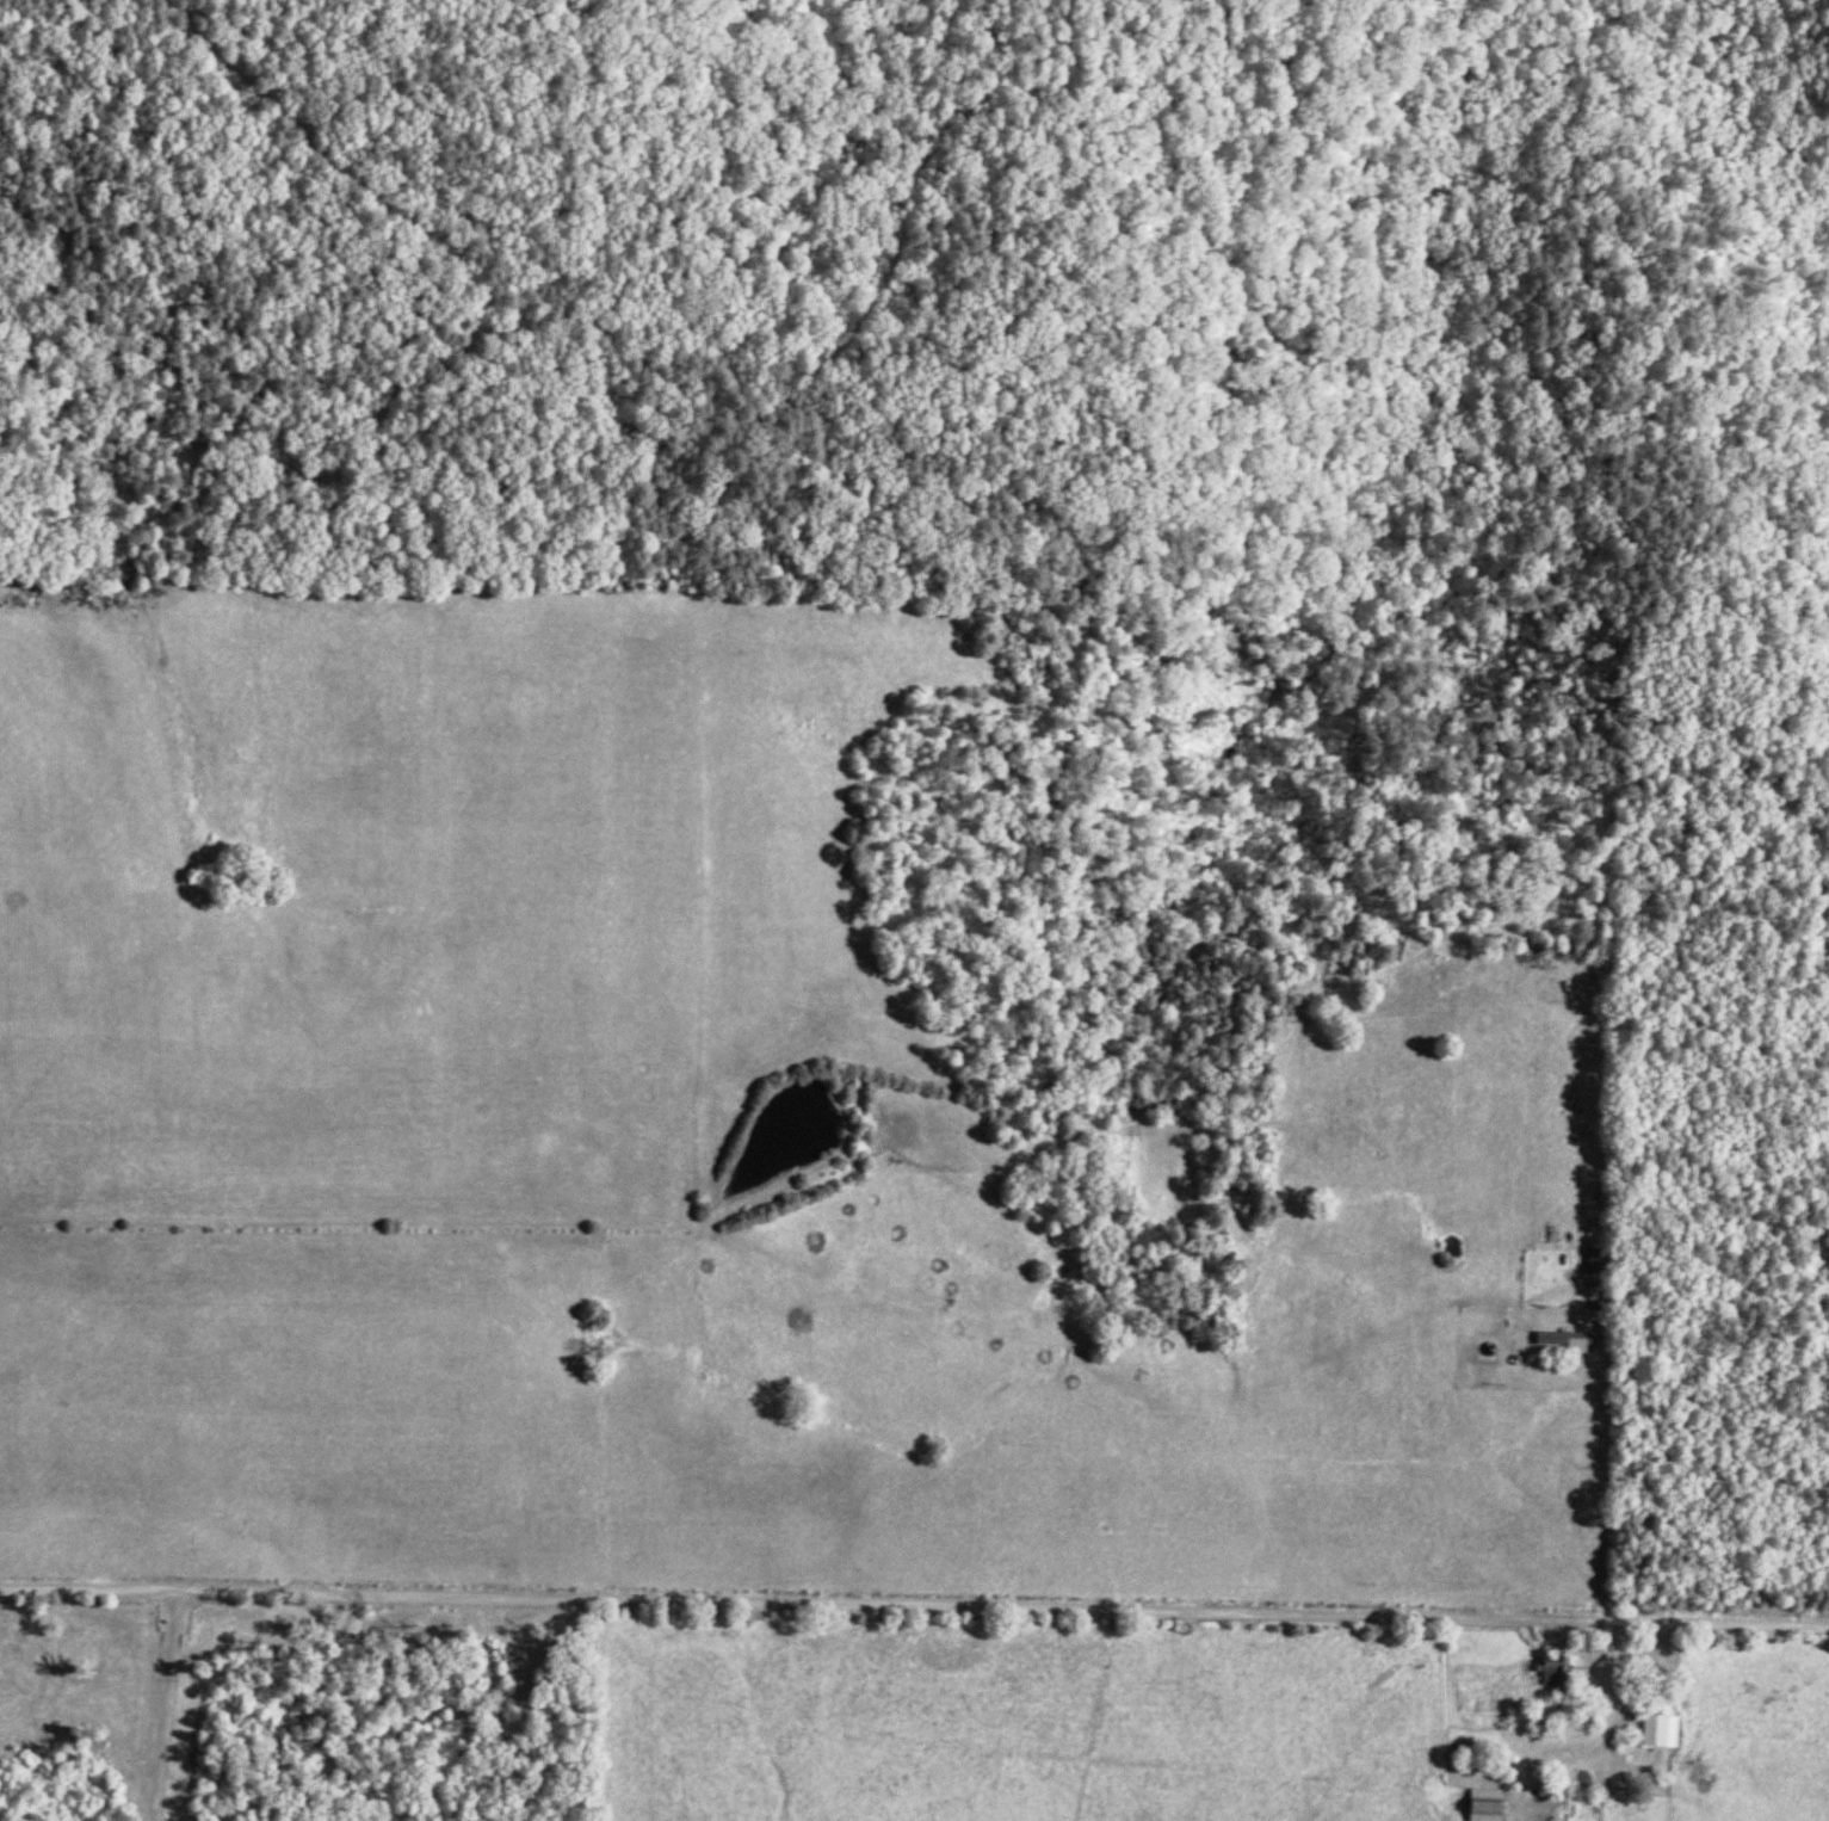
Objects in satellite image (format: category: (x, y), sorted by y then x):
building: (1563, 1340)
road: (1595, 1456)
road: (914, 1604)
building: (1664, 1732)
road: (1593, 1748)

